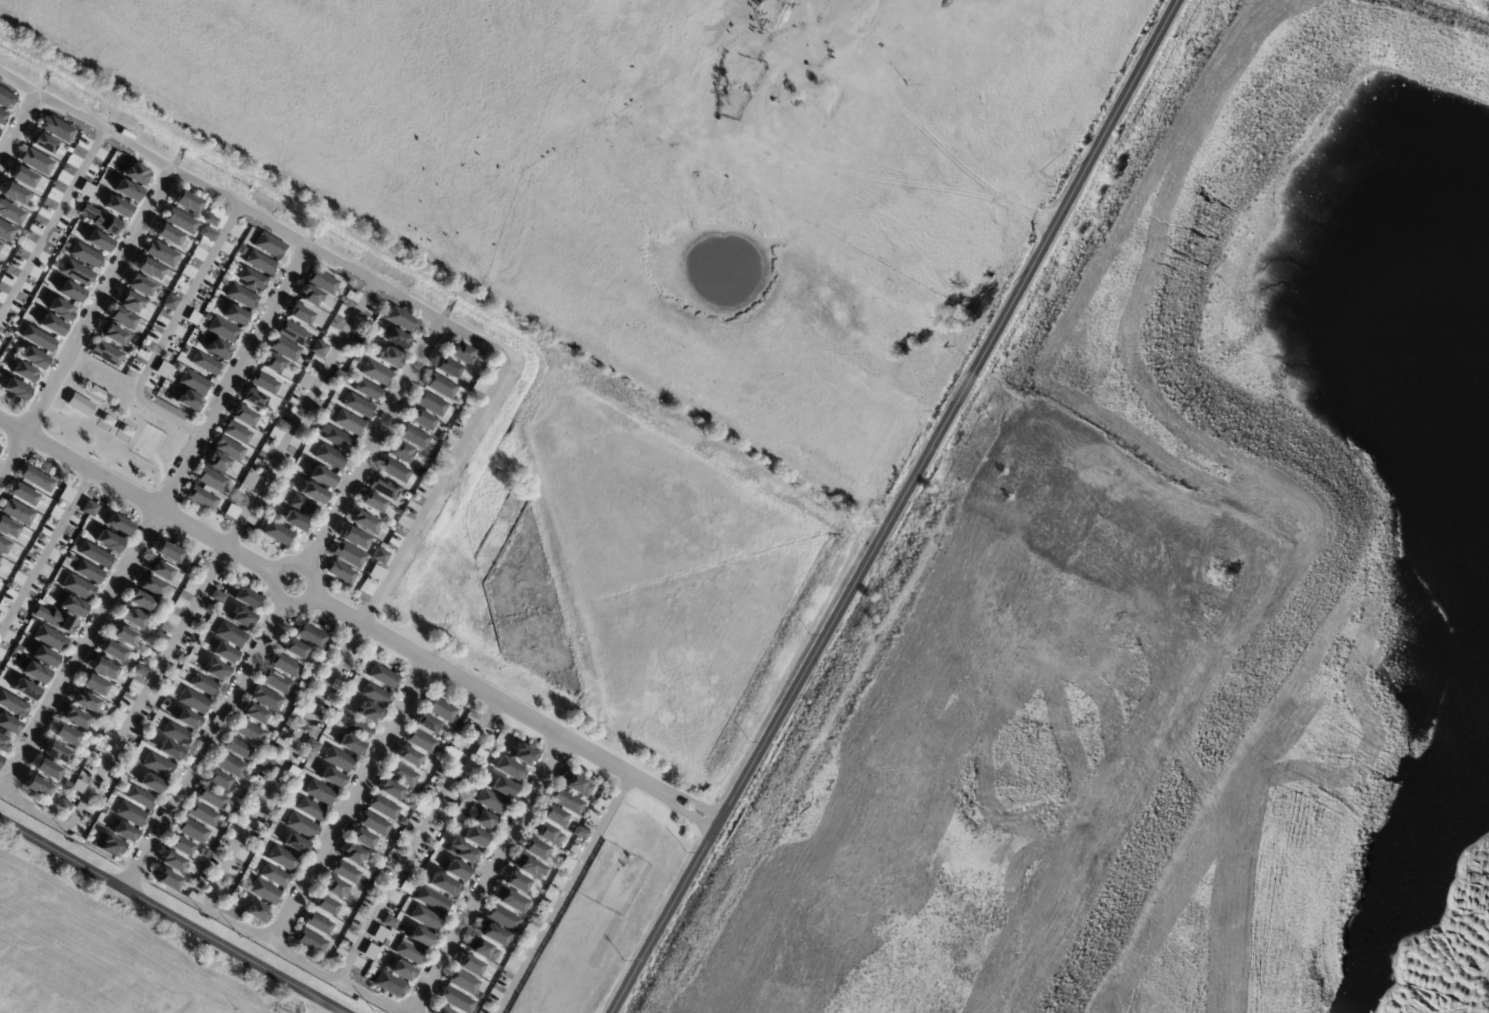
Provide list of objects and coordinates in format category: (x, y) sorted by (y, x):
building: (774, 97)
building: (5, 98)
building: (1, 116)
road: (17, 122)
building: (55, 129)
building: (42, 143)
building: (35, 161)
building: (135, 174)
building: (22, 177)
building: (85, 189)
building: (126, 190)
building: (12, 193)
building: (184, 202)
building: (116, 207)
building: (10, 213)
building: (100, 220)
building: (209, 220)
road: (51, 221)
building: (179, 221)
building: (5, 232)
building: (206, 234)
building: (167, 235)
building: (96, 241)
building: (270, 247)
building: (161, 253)
building: (84, 255)
building: (260, 263)
building: (53, 264)
building: (2, 268)
building: (148, 268)
building: (75, 272)
building: (253, 280)
building: (323, 283)
building: (139, 285)
building: (69, 291)
building: (310, 297)
building: (242, 298)
building: (128, 302)
building: (169, 302)
building: (59, 309)
building: (236, 317)
building: (300, 317)
building: (121, 318)
building: (192, 318)
building: (401, 320)
road: (85, 322)
building: (50, 325)
building: (224, 331)
road: (170, 332)
building: (111, 334)
building: (294, 335)
building: (37, 338)
building: (397, 340)
building: (286, 350)
building: (320, 350)
building: (187, 351)
building: (218, 351)
building: (105, 353)
building: (462, 356)
building: (32, 358)
building: (391, 360)
building: (359, 361)
building: (176, 365)
building: (206, 365)
building: (273, 365)
building: (449, 370)
building: (164, 371)
building: (23, 373)
building: (377, 374)
building: (341, 378)
building: (305, 382)
building: (194, 384)
building: (266, 384)
building: (442, 388)
building: (14, 389)
building: (369, 391)
building: (97, 393)
building: (254, 401)
building: (189, 403)
building: (79, 404)
building: (432, 405)
building: (358, 406)
building: (244, 418)
building: (422, 422)
building: (350, 424)
building: (237, 434)
building: (338, 440)
building: (418, 440)
park: (148, 443)
road: (373, 444)
building: (229, 451)
building: (401, 454)
building: (330, 458)
building: (217, 465)
building: (395, 472)
road: (445, 476)
building: (36, 479)
building: (322, 479)
building: (212, 482)
building: (249, 482)
building: (288, 486)
building: (386, 489)
building: (24, 494)
building: (314, 496)
road: (138, 498)
building: (202, 499)
building: (373, 505)
building: (303, 507)
building: (89, 508)
road: (896, 508)
building: (266, 509)
building: (17, 512)
road: (153, 518)
building: (365, 523)
building: (117, 524)
building: (295, 524)
building: (7, 528)
building: (278, 535)
building: (107, 541)
building: (354, 541)
building: (2, 546)
building: (167, 552)
road: (45, 554)
building: (94, 555)
building: (69, 557)
building: (349, 557)
building: (381, 558)
building: (158, 570)
building: (189, 570)
building: (88, 572)
building: (342, 575)
road: (274, 586)
quarry: (1168, 586)
building: (76, 587)
building: (152, 587)
road: (204, 590)
building: (9, 595)
building: (216, 597)
building: (245, 597)
building: (140, 601)
building: (71, 606)
building: (131, 618)
building: (241, 618)
building: (54, 619)
building: (161, 620)
building: (230, 635)
building: (123, 636)
building: (310, 636)
building: (48, 637)
building: (159, 638)
building: (293, 648)
building: (112, 652)
building: (223, 653)
building: (43, 657)
building: (284, 665)
building: (102, 669)
building: (139, 670)
building: (215, 670)
building: (33, 672)
building: (383, 677)
building: (275, 682)
building: (202, 685)
building: (93, 686)
building: (24, 690)
building: (374, 694)
building: (265, 699)
building: (84, 702)
building: (193, 702)
building: (13, 705)
road: (512, 706)
building: (440, 709)
building: (296, 712)
building: (253, 713)
building: (369, 713)
building: (74, 719)
building: (186, 720)
building: (457, 722)
building: (427, 723)
building: (8, 725)
building: (356, 728)
building: (247, 731)
building: (176, 734)
building: (65, 736)
building: (144, 741)
building: (420, 741)
building: (2, 745)
building: (310, 745)
building: (349, 745)
road: (203, 746)
building: (237, 748)
building: (169, 751)
building: (479, 752)
building: (55, 753)
building: (522, 754)
building: (450, 755)
building: (407, 756)
building: (0, 757)
building: (337, 760)
building: (264, 763)
building: (228, 765)
building: (157, 766)
building: (506, 767)
building: (45, 770)
building: (291, 773)
building: (400, 774)
building: (331, 778)
building: (216, 780)
building: (150, 784)
building: (574, 784)
building: (67, 785)
building: (77, 786)
building: (35, 787)
building: (501, 787)
building: (419, 788)
building: (389, 789)
building: (112, 793)
building: (318, 793)
building: (210, 797)
building: (139, 798)
building: (564, 800)
building: (490, 802)
road: (352, 803)
building: (63, 805)
building: (382, 807)
building: (421, 808)
building: (309, 809)
building: (103, 812)
building: (129, 814)
building: (201, 815)
building: (552, 816)
building: (480, 819)
building: (402, 820)
building: (373, 824)
building: (300, 826)
building: (191, 831)
building: (123, 833)
building: (579, 833)
building: (545, 834)
building: (474, 837)
building: (361, 838)
road: (421, 840)
building: (294, 844)
building: (178, 846)
building: (110, 847)
building: (533, 849)
building: (258, 850)
building: (462, 852)
building: (351, 854)
building: (281, 859)
building: (170, 862)
building: (565, 865)
building: (527, 867)
building: (455, 870)
building: (345, 872)
building: (374, 872)
road: (490, 875)
building: (273, 877)
building: (166, 880)
building: (515, 881)
building: (406, 885)
building: (443, 885)
building: (333, 887)
building: (263, 892)
road: (568, 894)
building: (431, 900)
building: (508, 900)
building: (324, 905)
building: (255, 912)
building: (350, 912)
road: (166, 917)
building: (501, 917)
building: (424, 918)
building: (388, 922)
building: (317, 924)
building: (490, 933)
building: (379, 936)
building: (418, 937)
building: (310, 942)
building: (480, 950)
building: (408, 951)
building: (368, 952)
building: (468, 965)
building: (400, 971)
building: (367, 977)
building: (461, 982)
building: (388, 984)
building: (478, 995)
building: (454, 1000)
road: (320, 1009)
building: (441, 1010)

